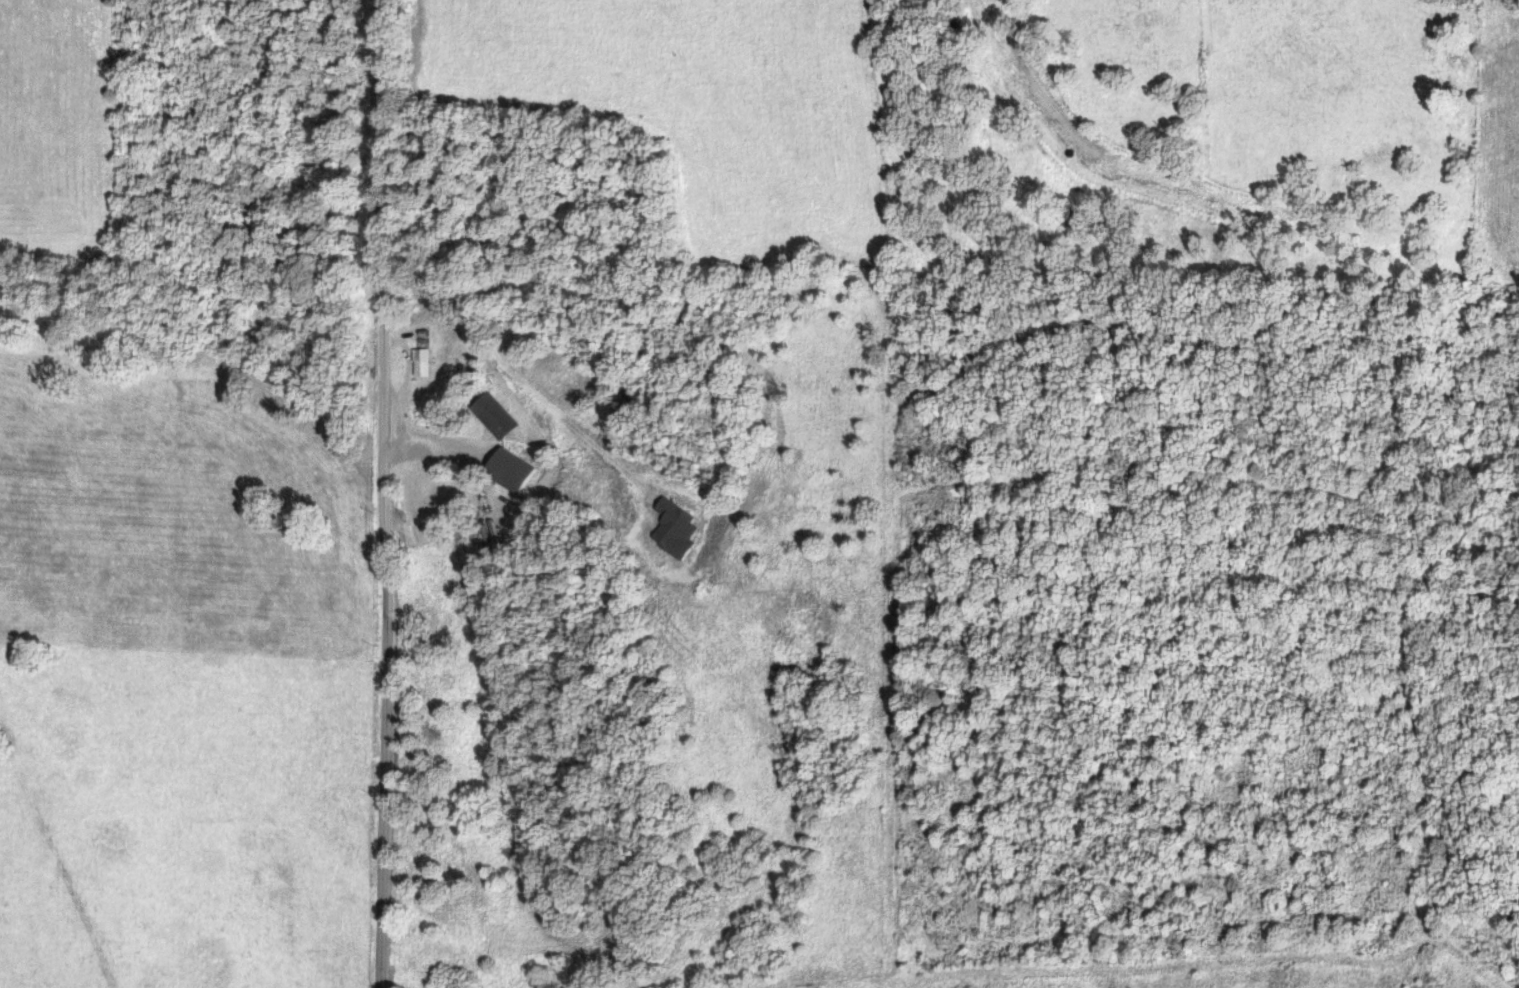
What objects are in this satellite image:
building: (423, 362)
road: (516, 376)
road: (450, 445)
building: (514, 469)
road: (384, 493)
building: (677, 528)

